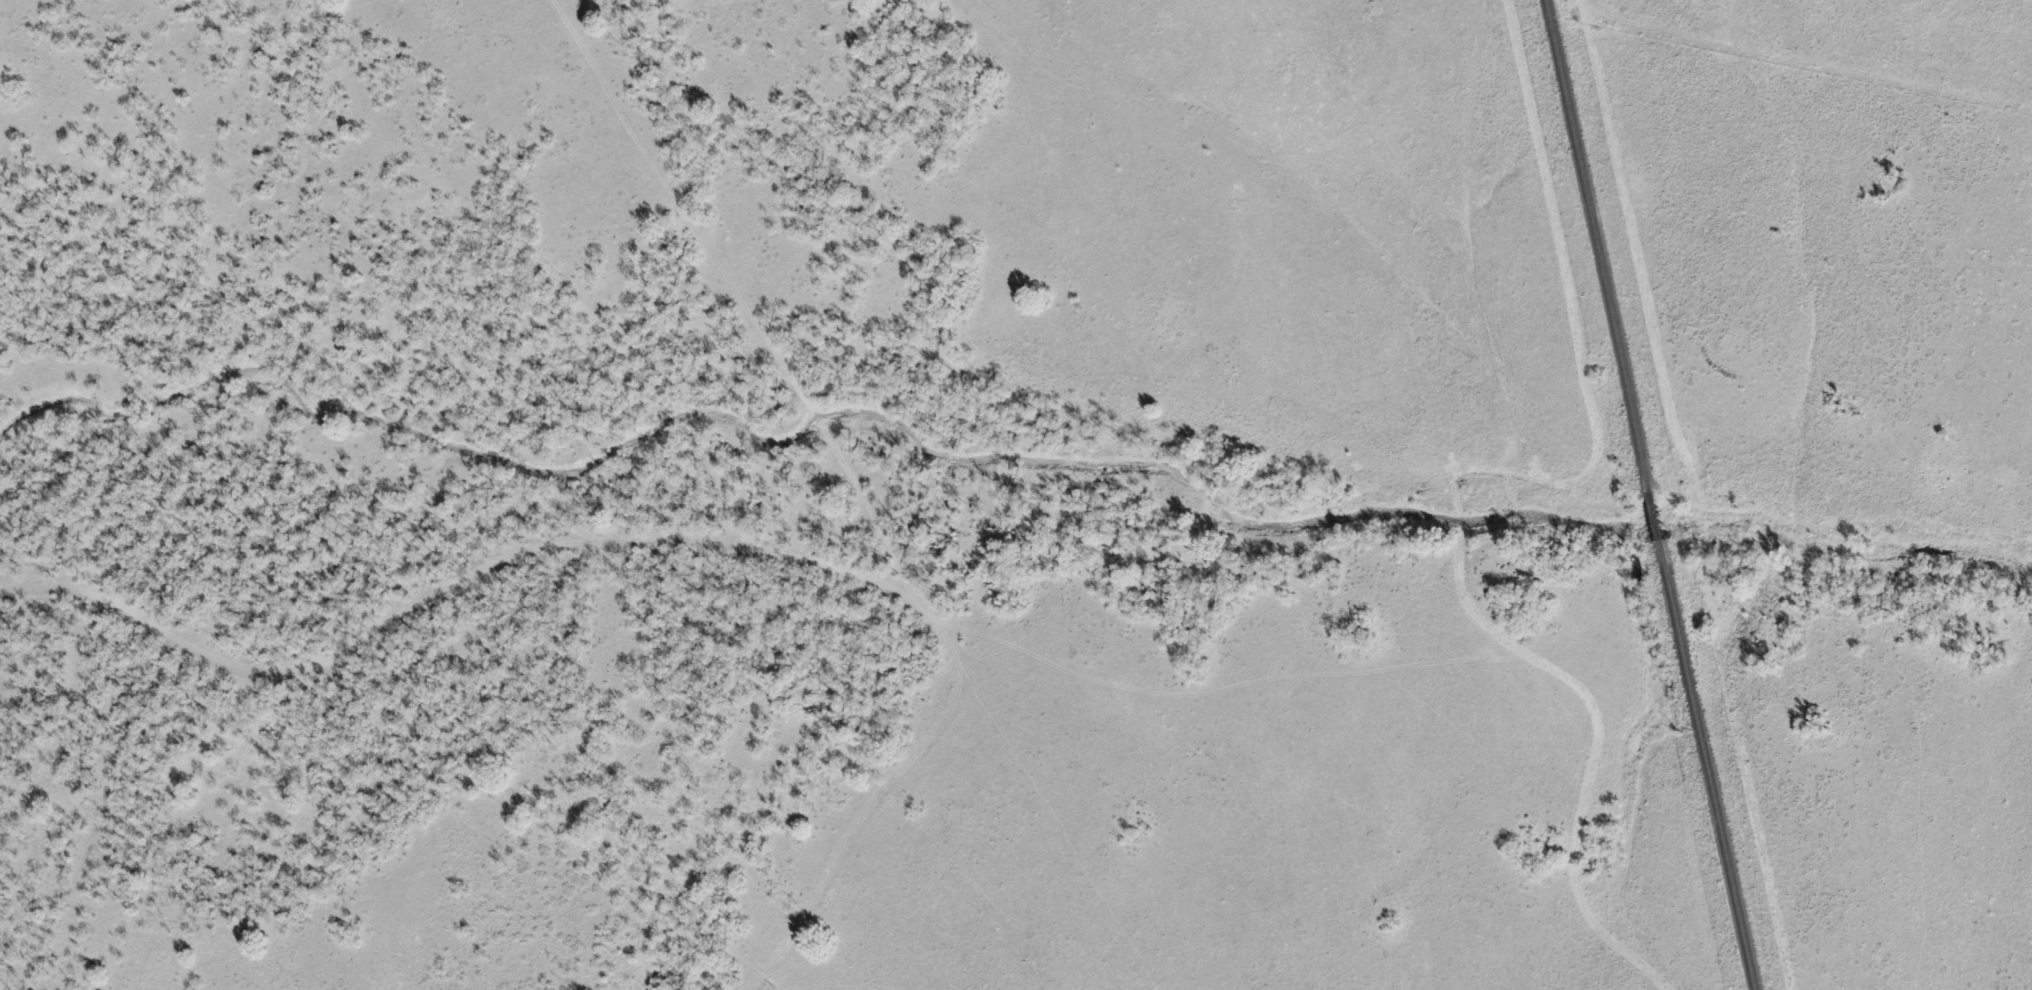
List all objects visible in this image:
railway: (1648, 495)

